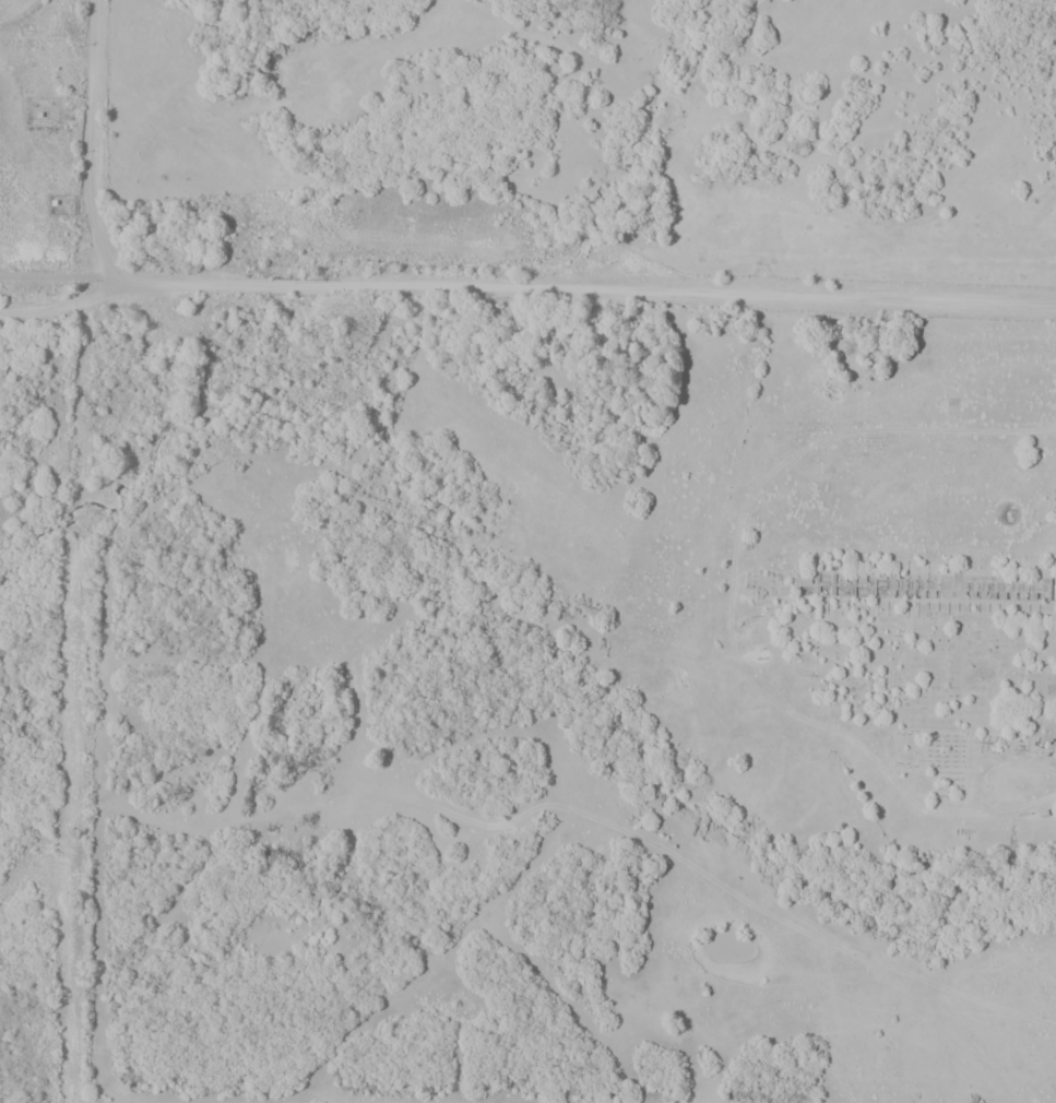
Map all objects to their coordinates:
road: (21, 14)
road: (93, 159)
road: (526, 289)

